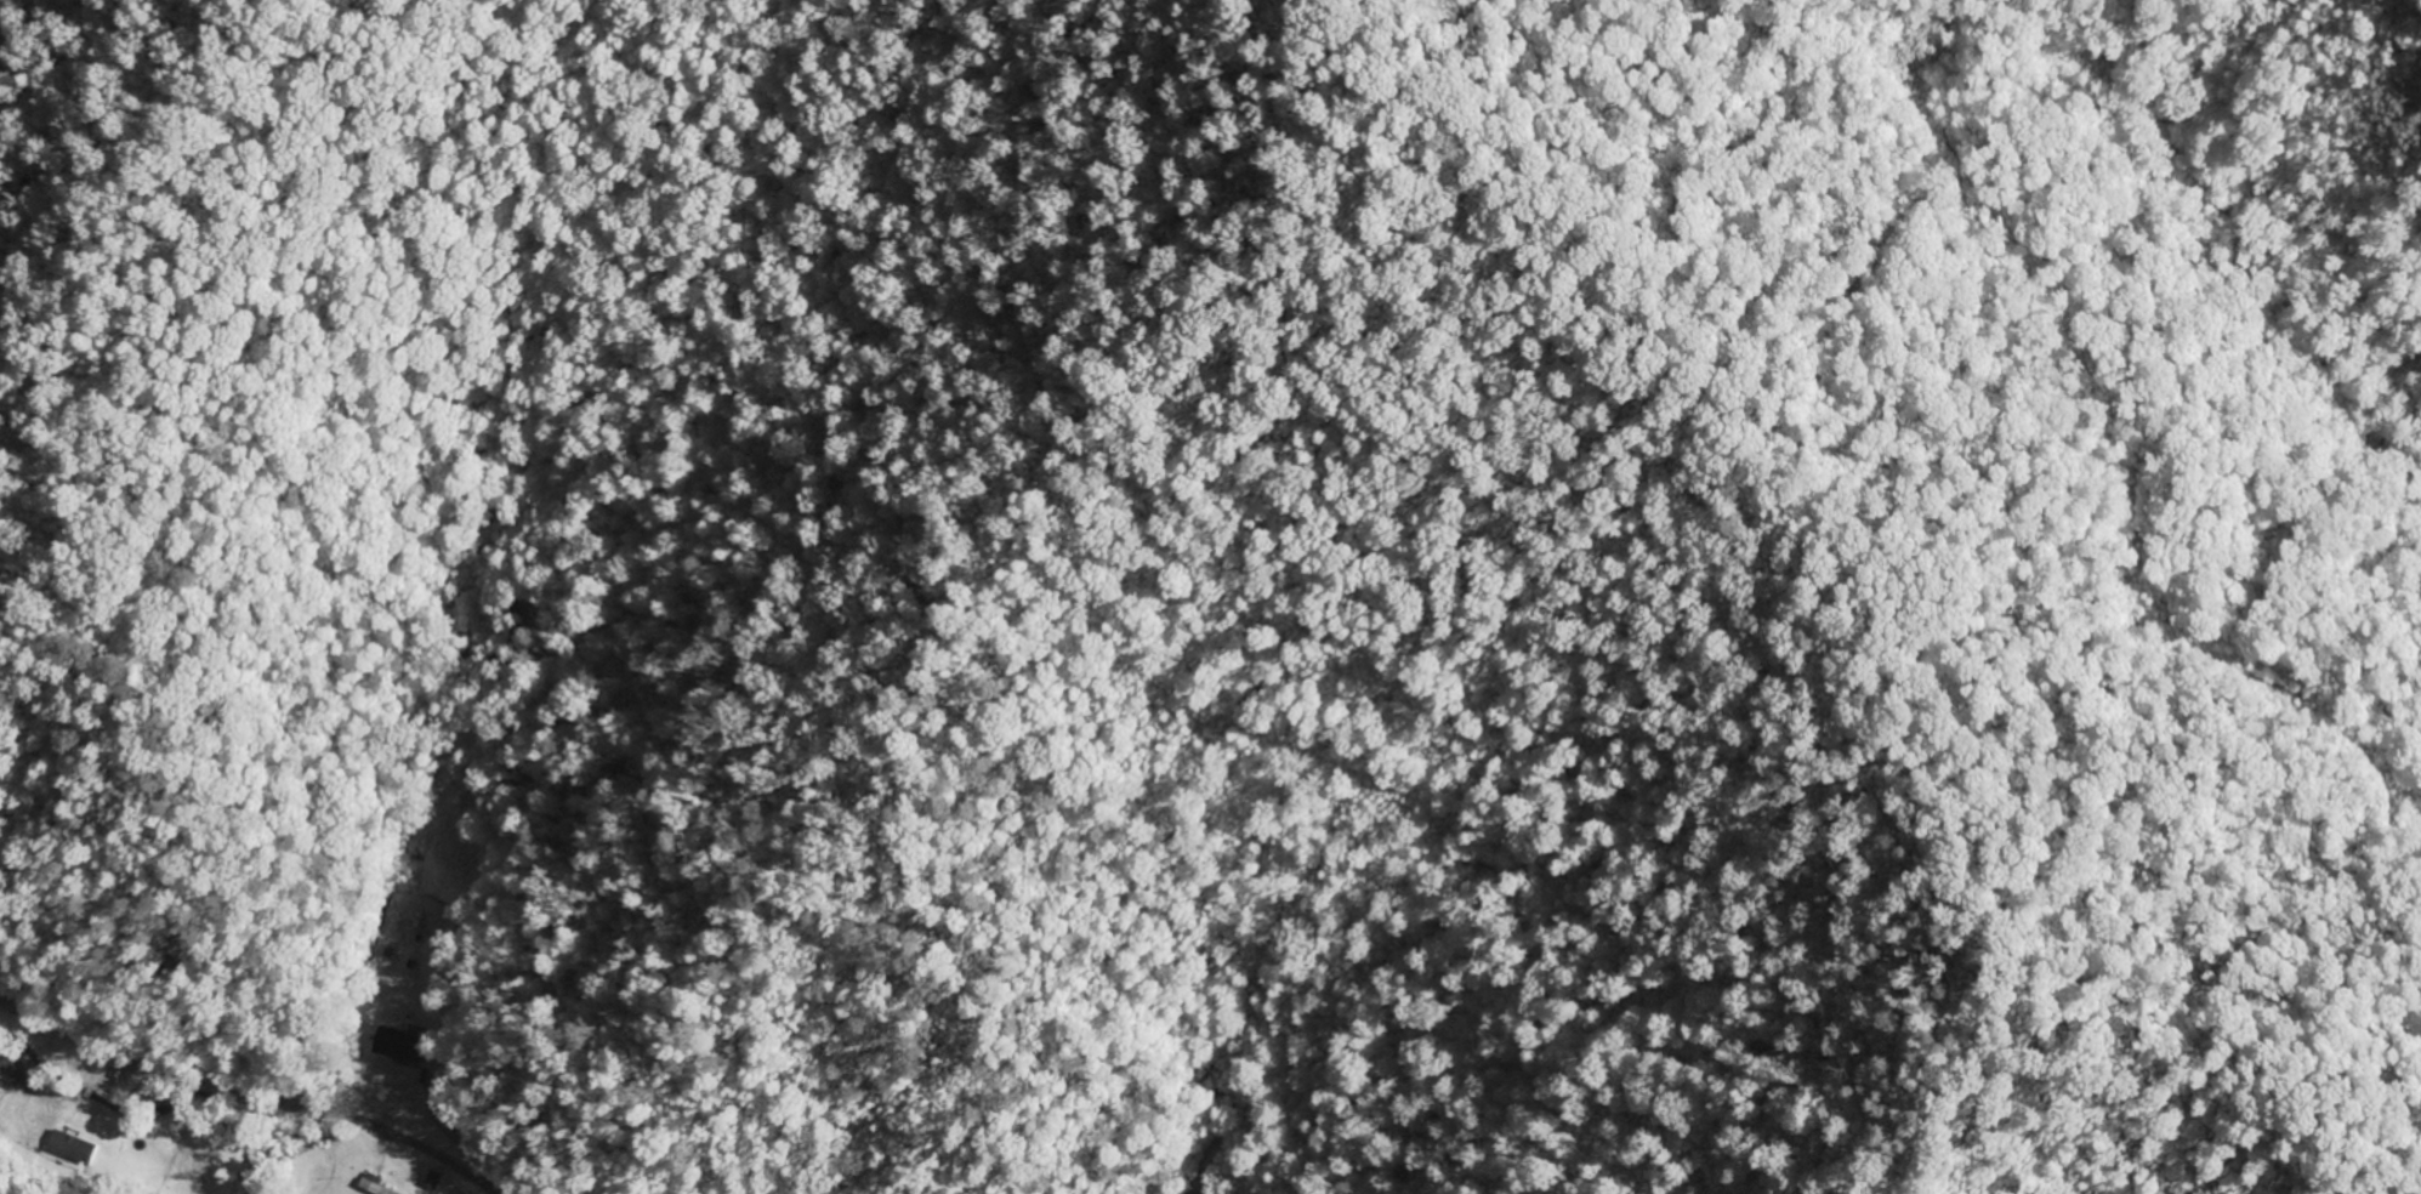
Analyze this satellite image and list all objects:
building: (403, 1046)
road: (244, 1101)
road: (249, 1148)
building: (380, 1184)

